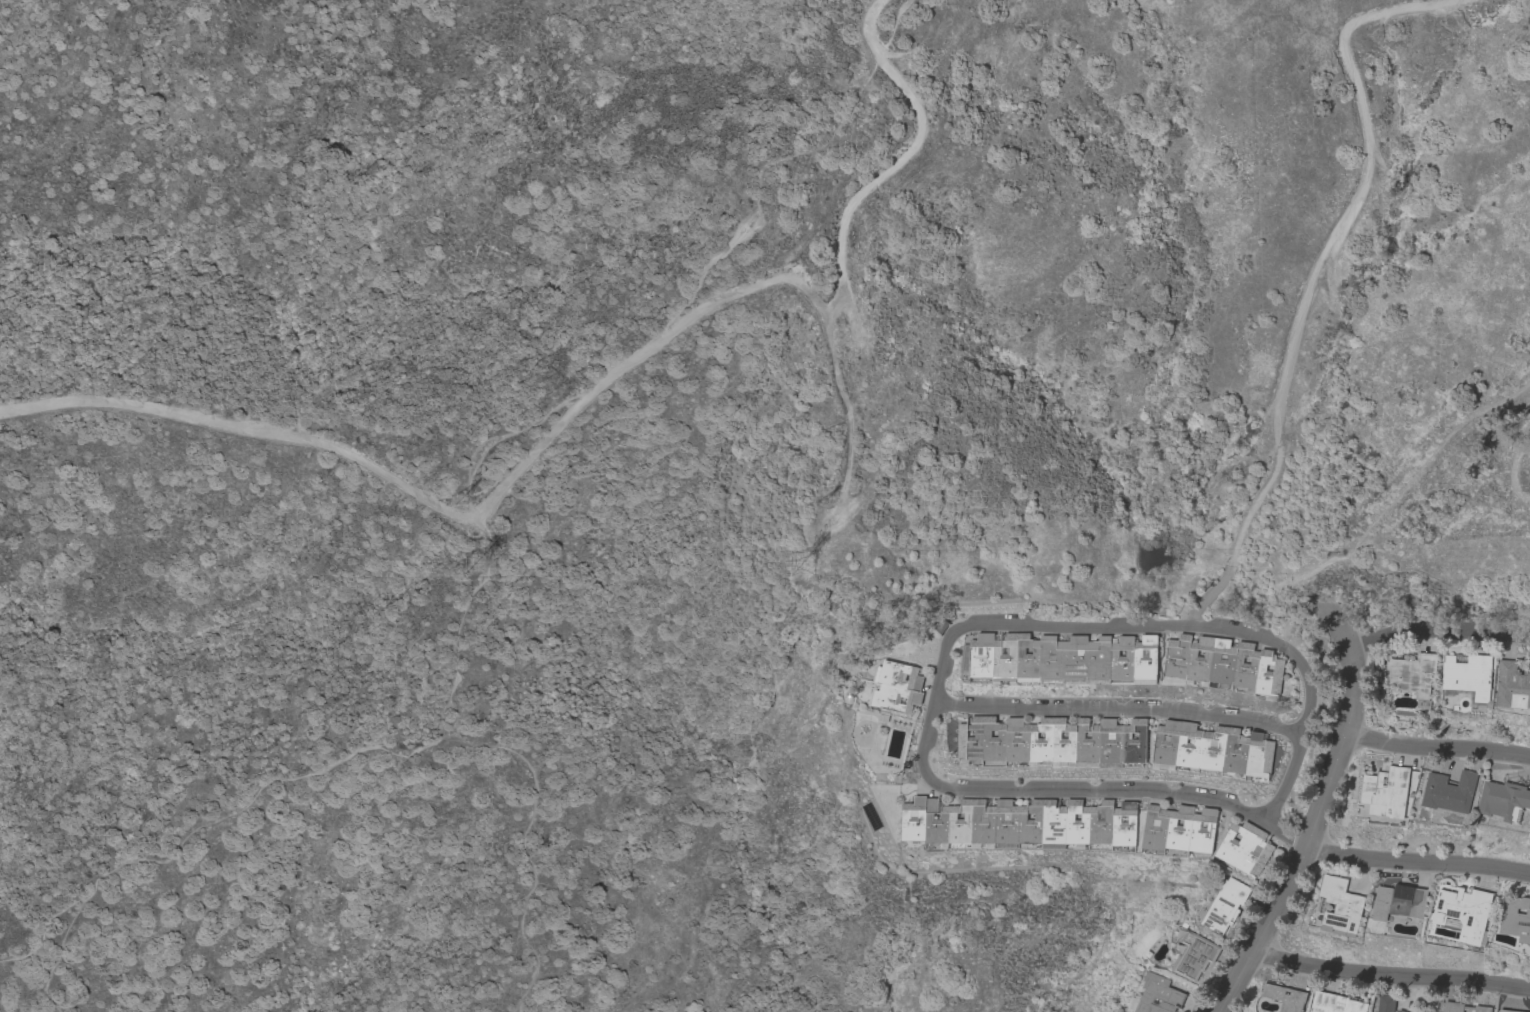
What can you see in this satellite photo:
road: (895, 162)
road: (1314, 281)
road: (534, 459)
power tower: (821, 498)
power tower: (458, 500)
power tower: (806, 562)
power tower: (477, 565)
road: (1440, 624)
building: (940, 625)
road: (957, 630)
road: (1347, 634)
building: (1062, 656)
building: (1223, 663)
building: (1412, 673)
building: (1467, 675)
building: (1513, 685)
building: (896, 686)
road: (1119, 711)
building: (1052, 740)
building: (1213, 748)
road: (1446, 748)
road: (510, 753)
building: (1449, 791)
building: (1386, 792)
building: (1504, 800)
building: (1019, 822)
road: (198, 824)
building: (1180, 828)
road: (1307, 832)
building: (1244, 848)
road: (1415, 858)
building: (1400, 901)
building: (1226, 904)
building: (1341, 904)
building: (1465, 911)
building: (1516, 917)
road: (37, 930)
building: (1195, 956)
road: (1391, 976)
building: (1156, 996)
building: (1286, 997)
building: (1336, 1003)
building: (1386, 1003)
building: (1463, 1007)
building: (1402, 1011)
building: (1507, 1011)

